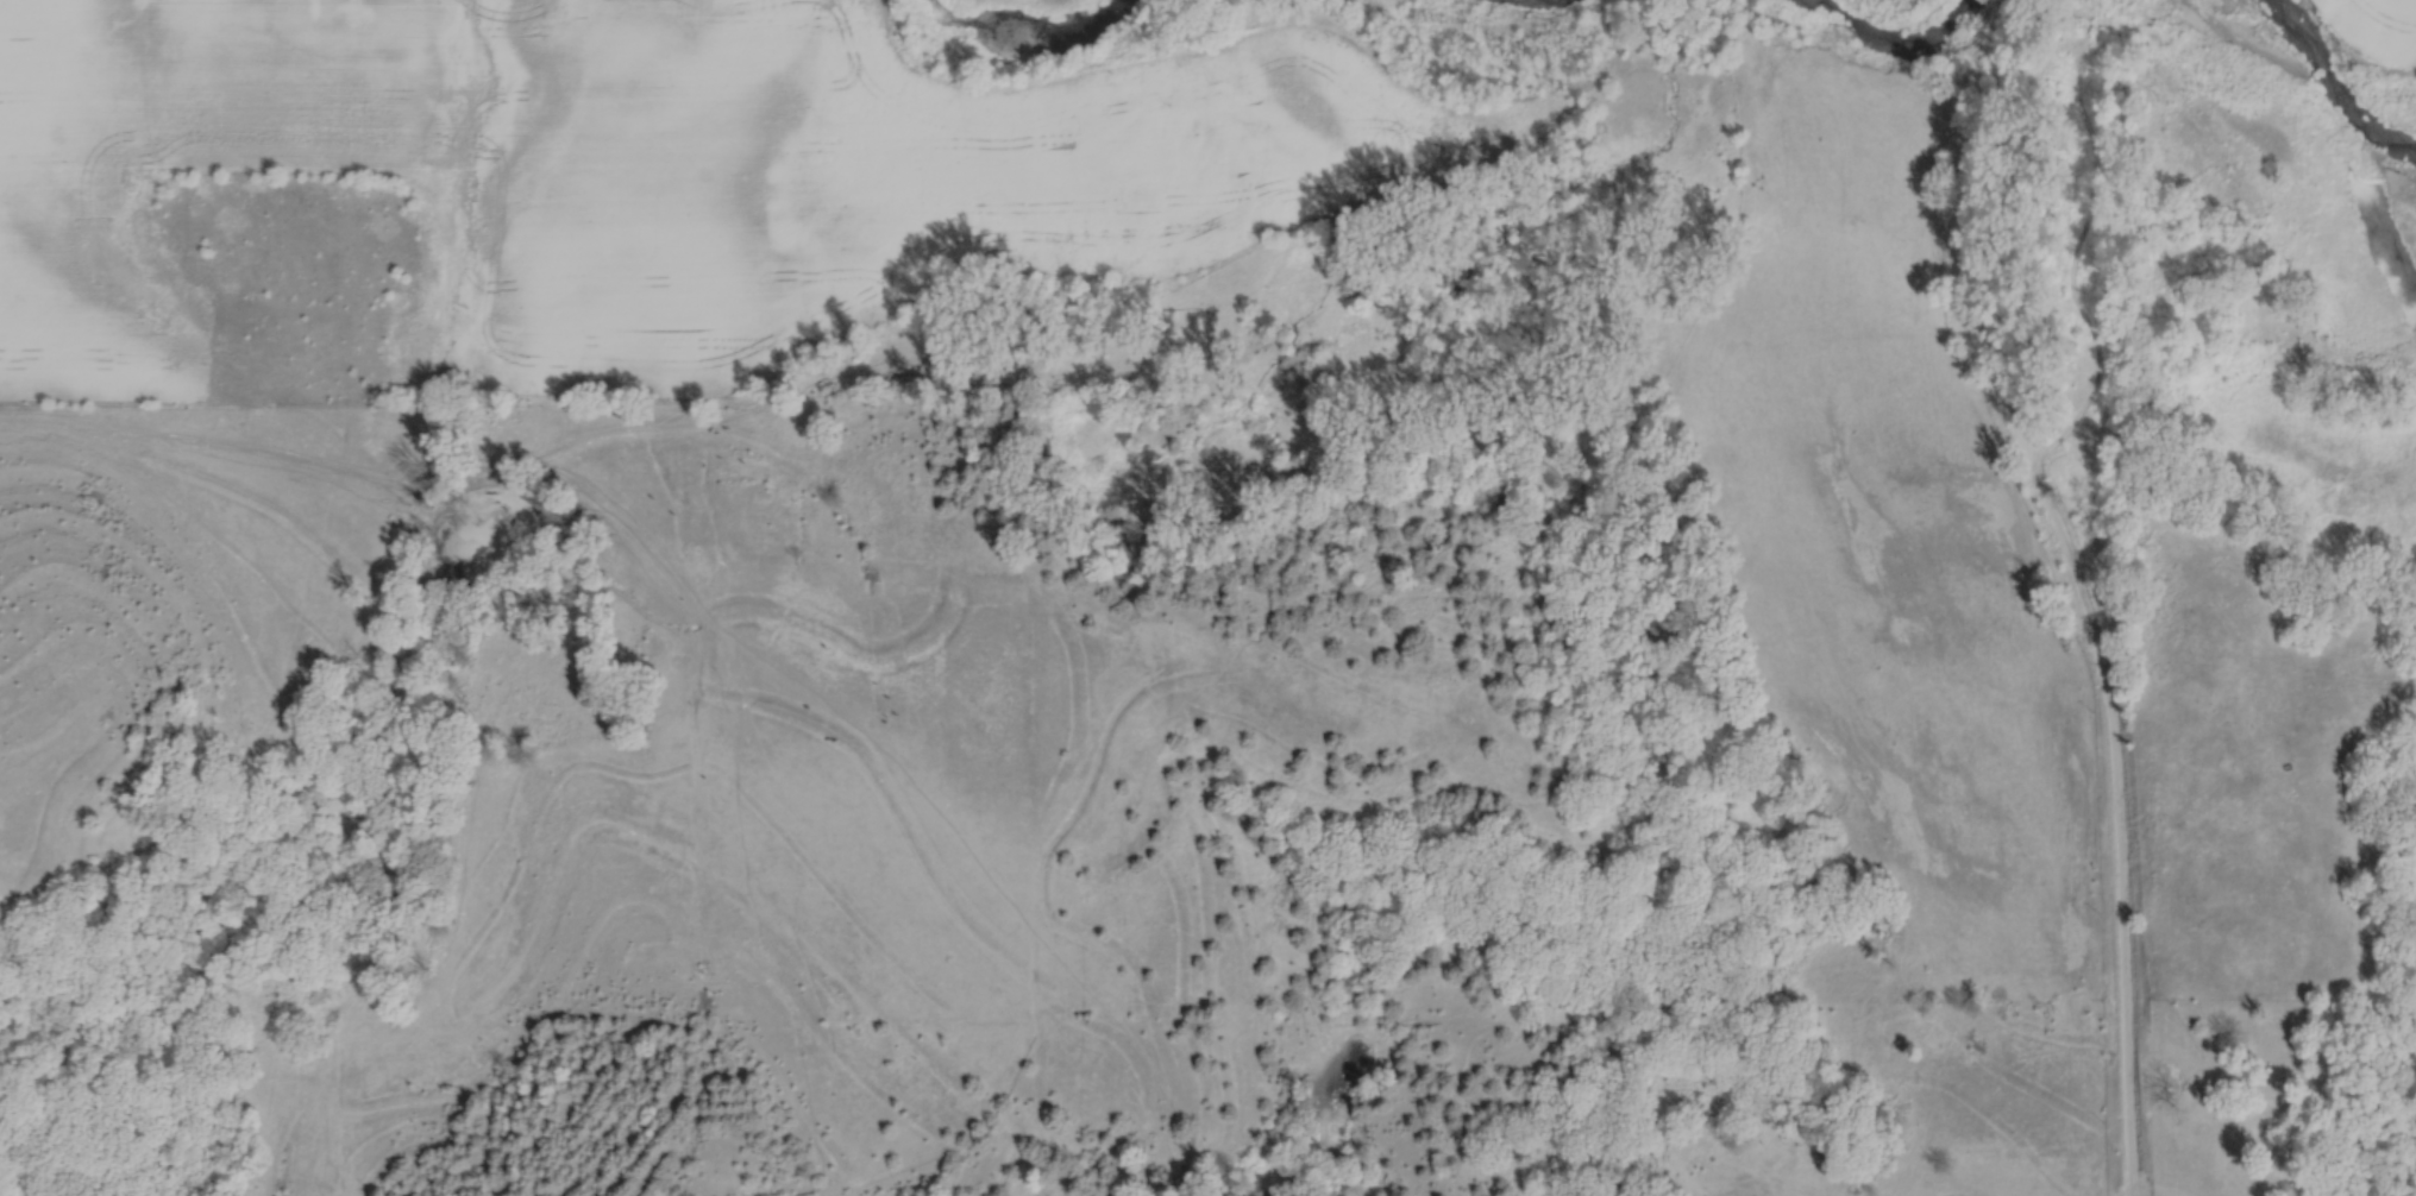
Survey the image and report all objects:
road: (2078, 585)

